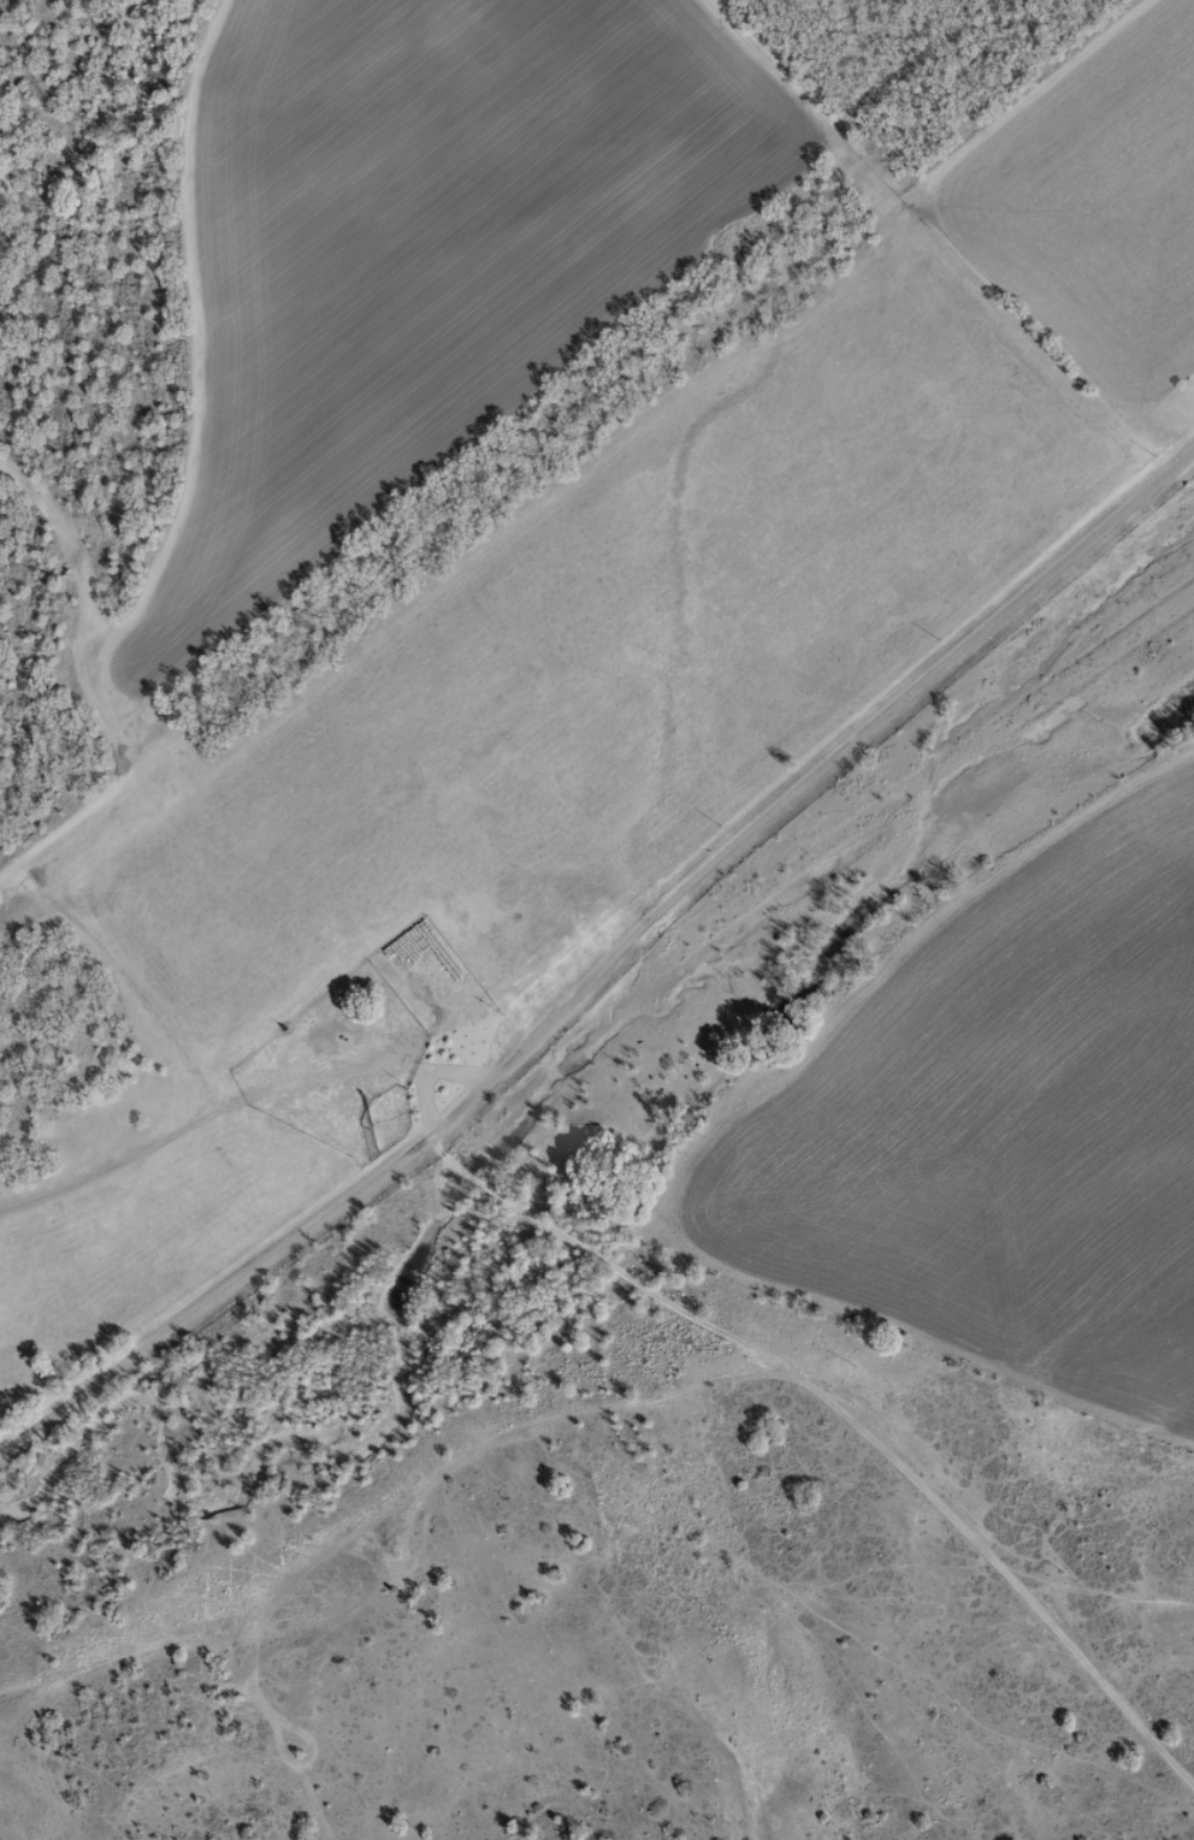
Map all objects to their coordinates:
railway: (528, 433)
road: (607, 942)
crop: (997, 1131)
road: (832, 1407)

